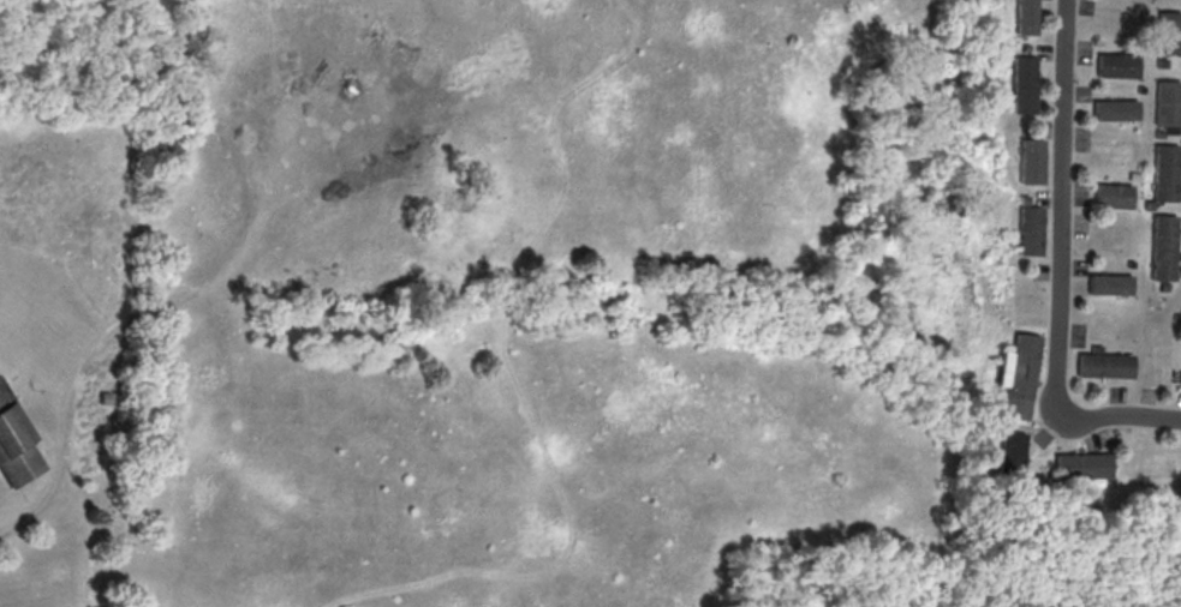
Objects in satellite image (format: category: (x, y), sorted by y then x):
building: (1021, 17)
building: (1168, 31)
building: (1021, 46)
building: (1161, 61)
building: (1115, 64)
building: (1019, 83)
building: (1140, 88)
building: (1167, 102)
building: (1114, 109)
building: (1159, 132)
building: (1026, 160)
building: (1164, 172)
building: (1133, 175)
building: (1111, 194)
building: (1019, 199)
building: (1149, 204)
building: (1025, 229)
building: (1164, 247)
building: (1131, 263)
road: (1055, 266)
building: (1108, 283)
building: (1165, 286)
building: (1177, 317)
building: (1094, 347)
building: (1105, 363)
building: (1018, 375)
building: (14, 444)
building: (1008, 453)
building: (1084, 464)
road: (22, 515)

